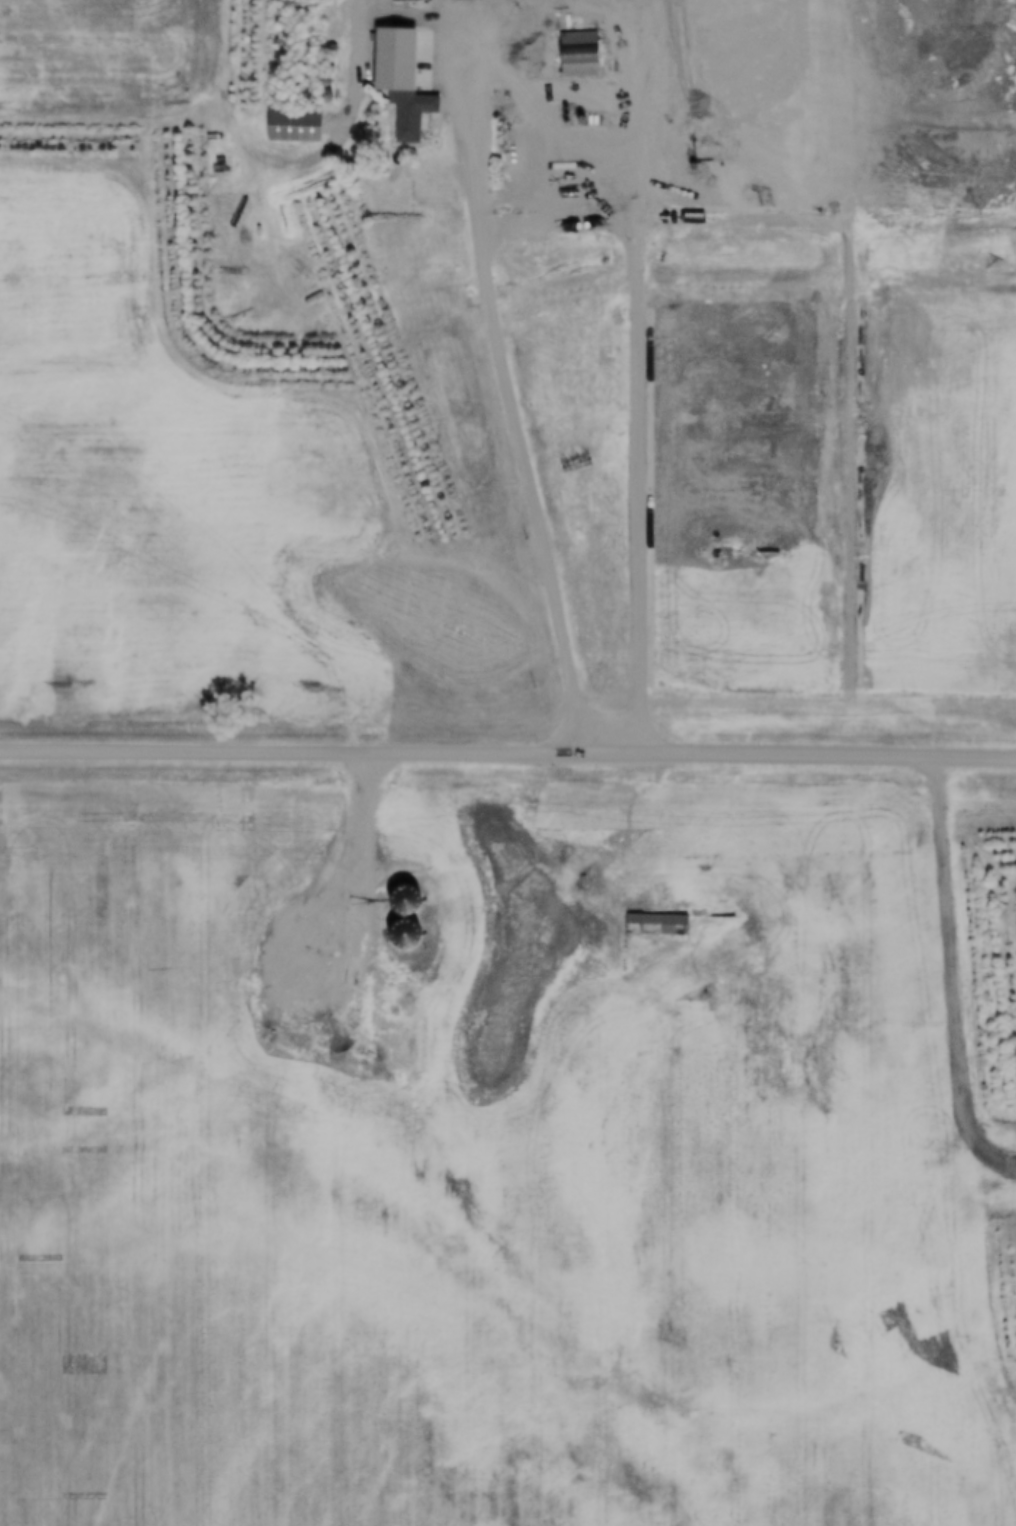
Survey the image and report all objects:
building: (580, 54)
building: (382, 57)
building: (679, 95)
building: (411, 113)
building: (294, 127)
road: (583, 293)
road: (493, 310)
road: (664, 649)
road: (508, 755)
building: (657, 925)

